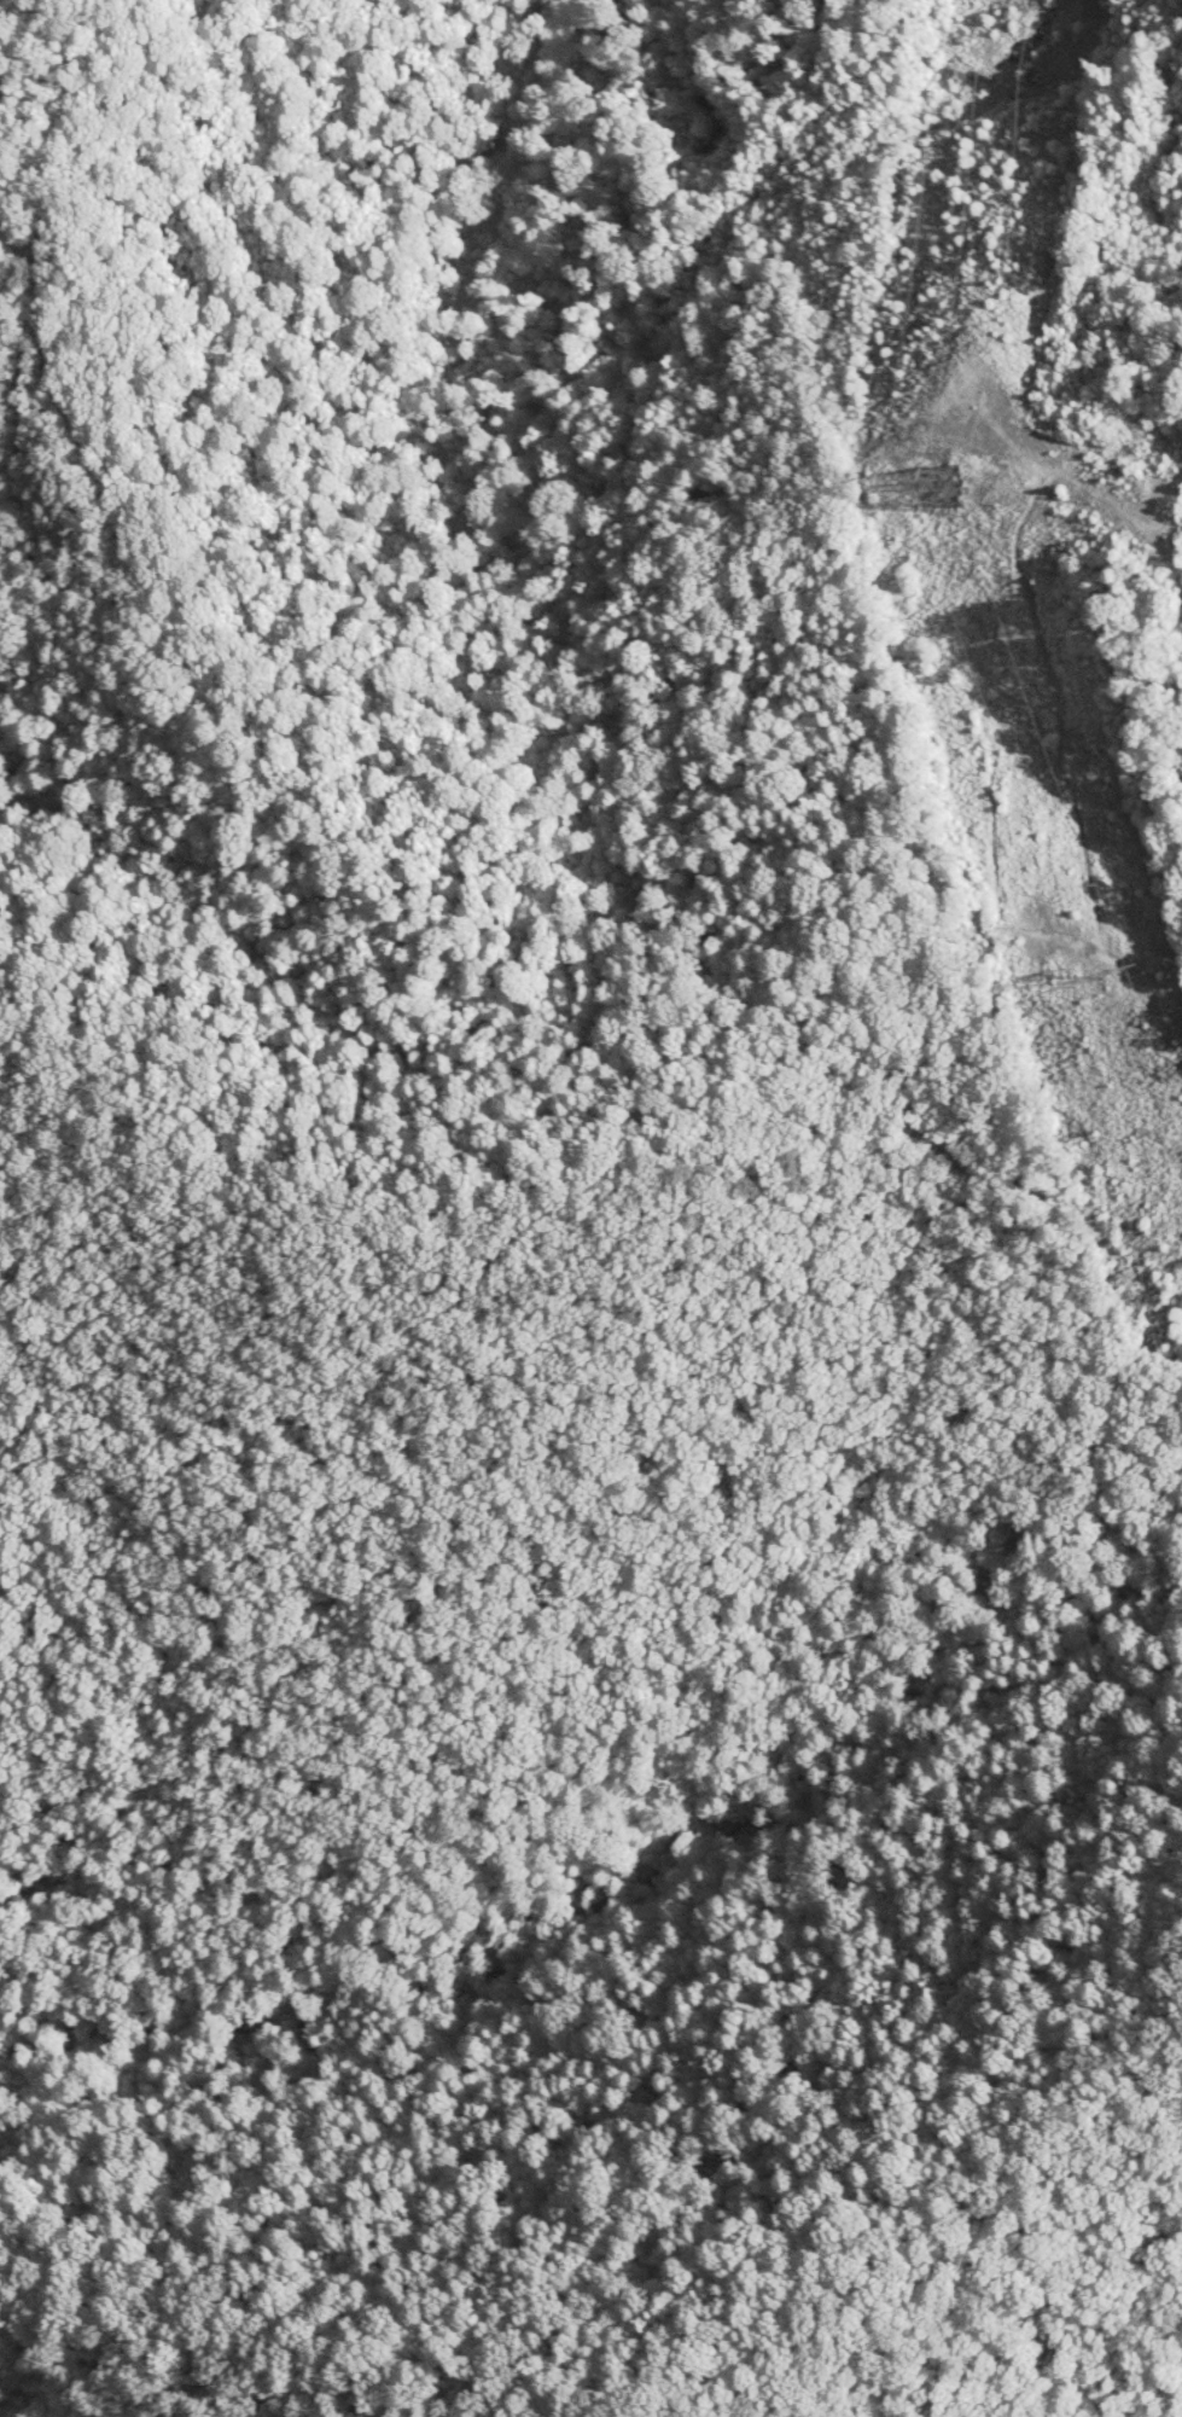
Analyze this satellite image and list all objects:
power tower: (948, 481)
power tower: (1099, 982)

